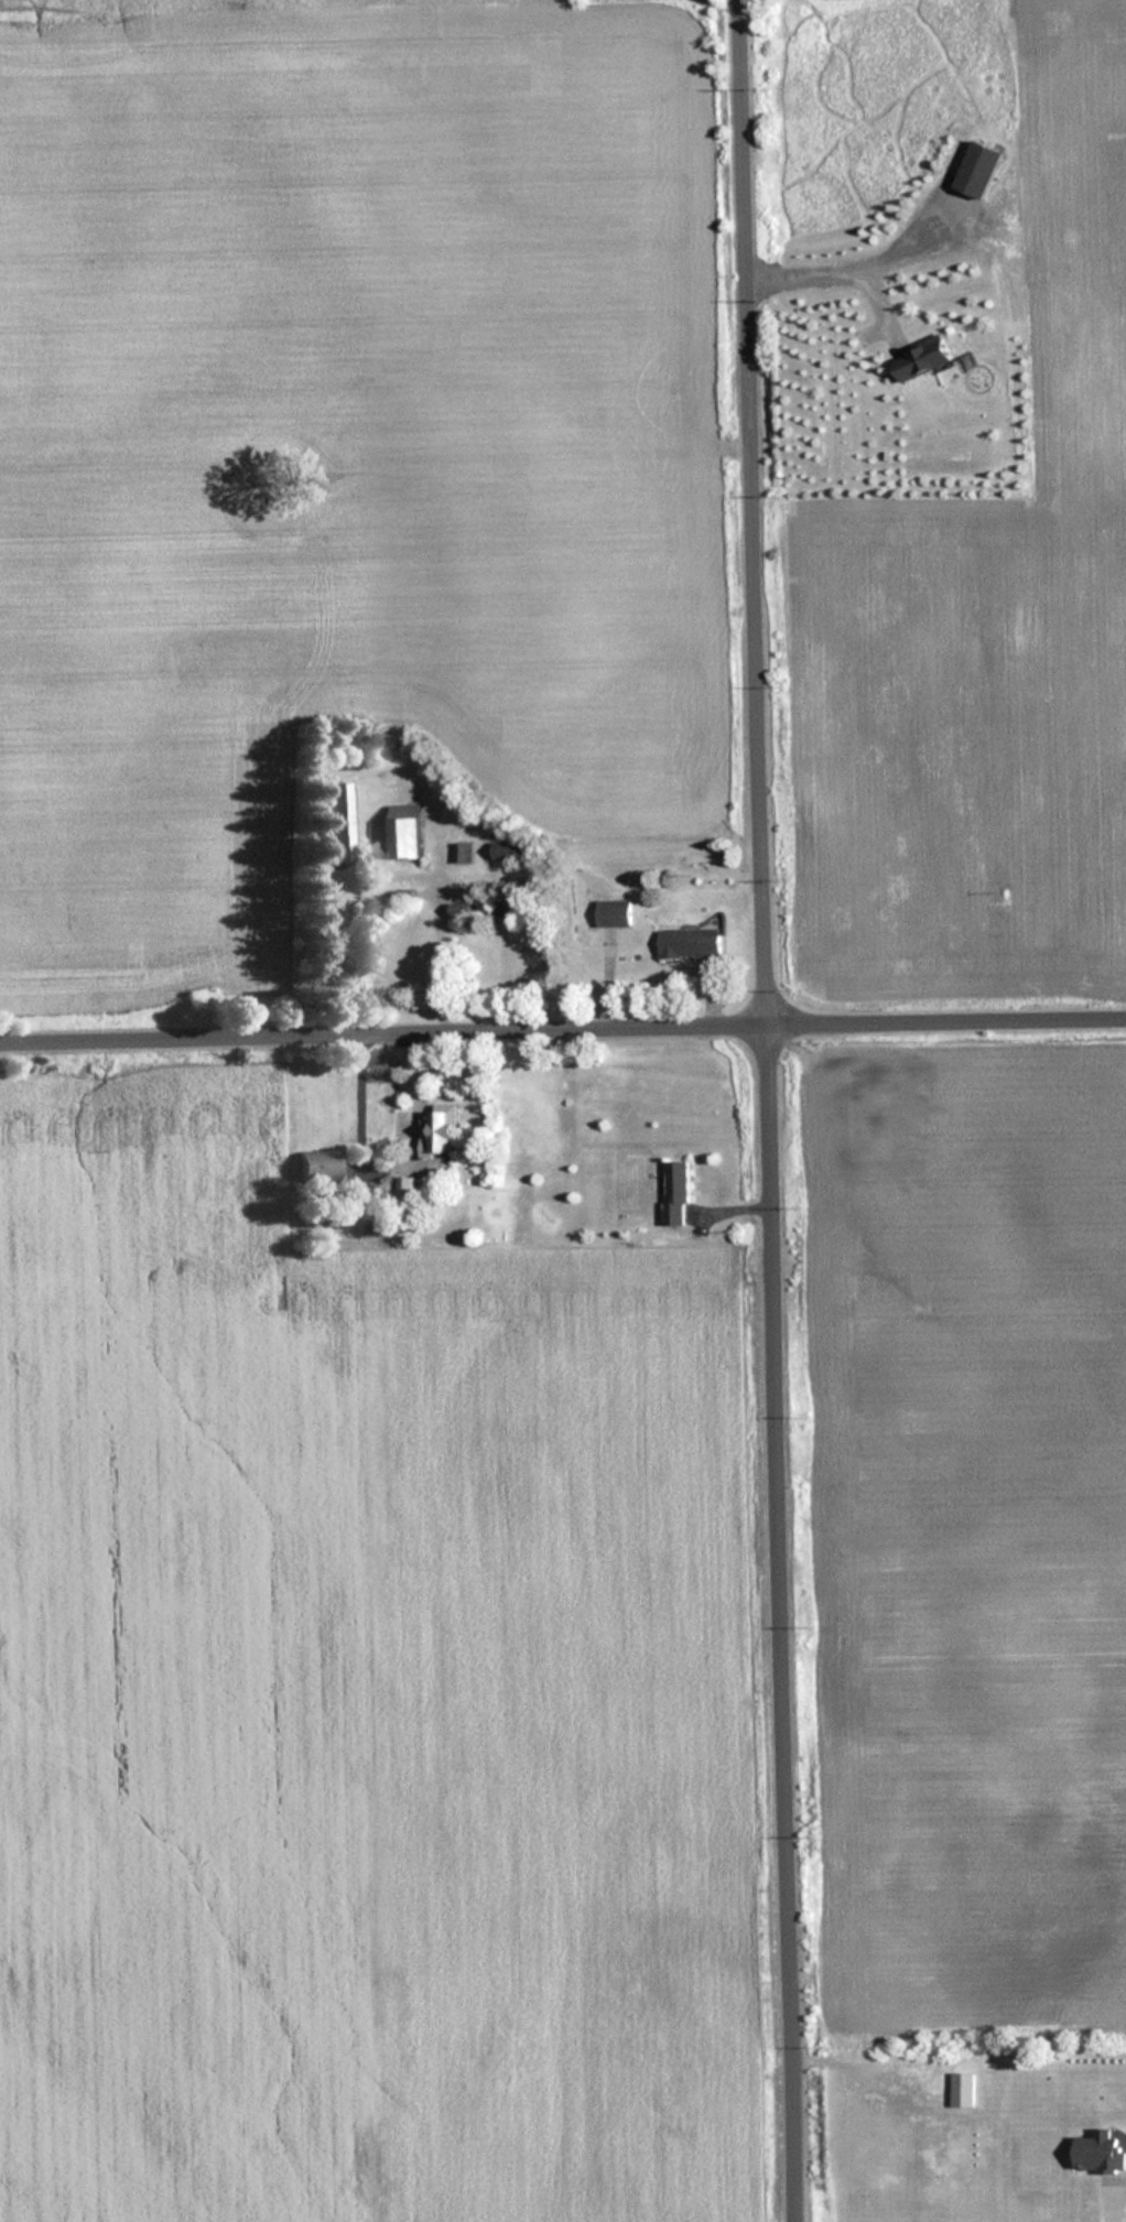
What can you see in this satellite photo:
building: (977, 170)
road: (848, 267)
building: (922, 359)
building: (338, 821)
building: (403, 831)
building: (507, 849)
building: (461, 853)
building: (458, 910)
building: (611, 912)
building: (687, 942)
building: (394, 952)
building: (521, 953)
road: (562, 1032)
road: (770, 1110)
building: (437, 1131)
building: (316, 1164)
building: (409, 1192)
building: (674, 1192)
building: (1097, 2154)
road: (1102, 2199)

